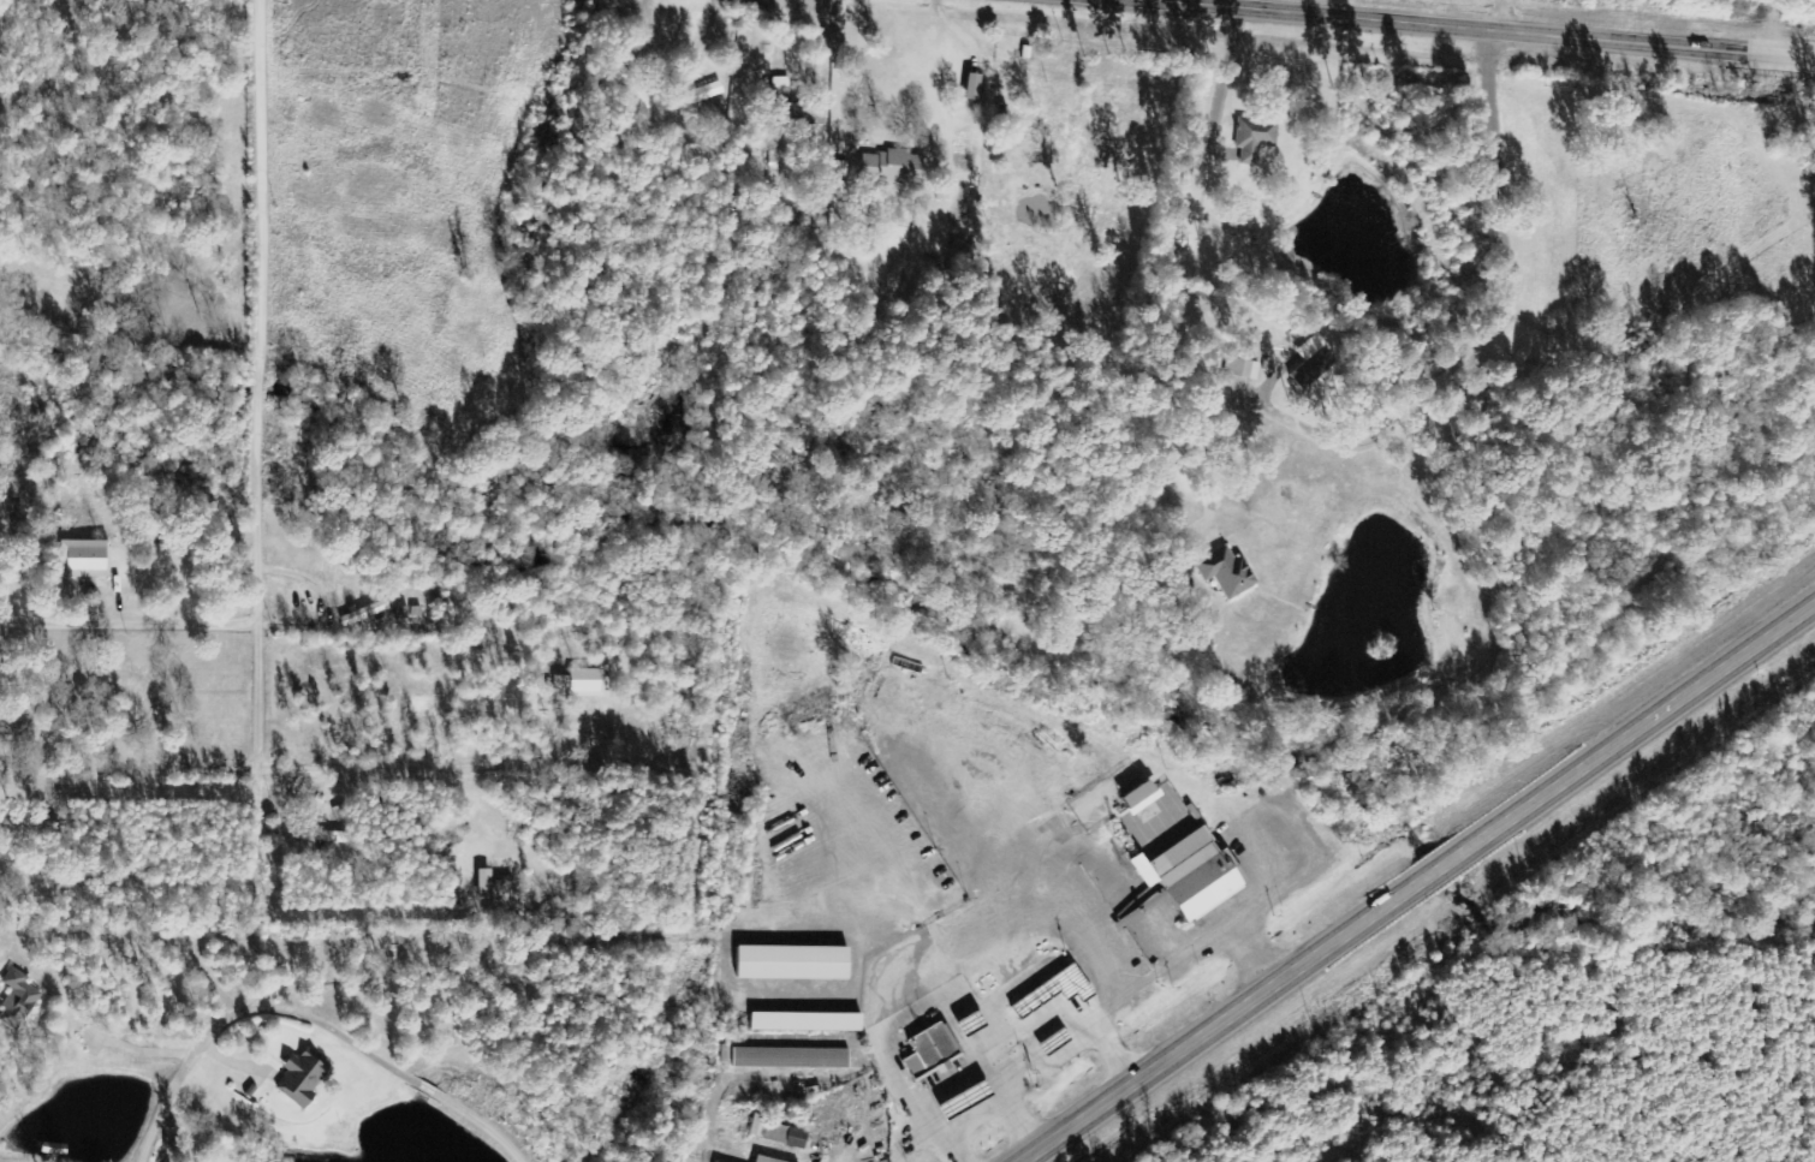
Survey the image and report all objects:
road: (1171, 1)
road: (1351, 10)
road: (1478, 29)
road: (22, 82)
building: (696, 96)
building: (1249, 139)
building: (895, 167)
road: (476, 392)
road: (239, 437)
building: (83, 559)
building: (1221, 572)
building: (365, 612)
road: (584, 613)
building: (588, 681)
building: (561, 685)
building: (1129, 798)
building: (1183, 875)
road: (1412, 878)
building: (487, 884)
building: (797, 963)
building: (19, 1000)
road: (305, 1017)
building: (809, 1021)
building: (933, 1050)
building: (792, 1057)
building: (304, 1079)
building: (780, 1133)
building: (768, 1160)

